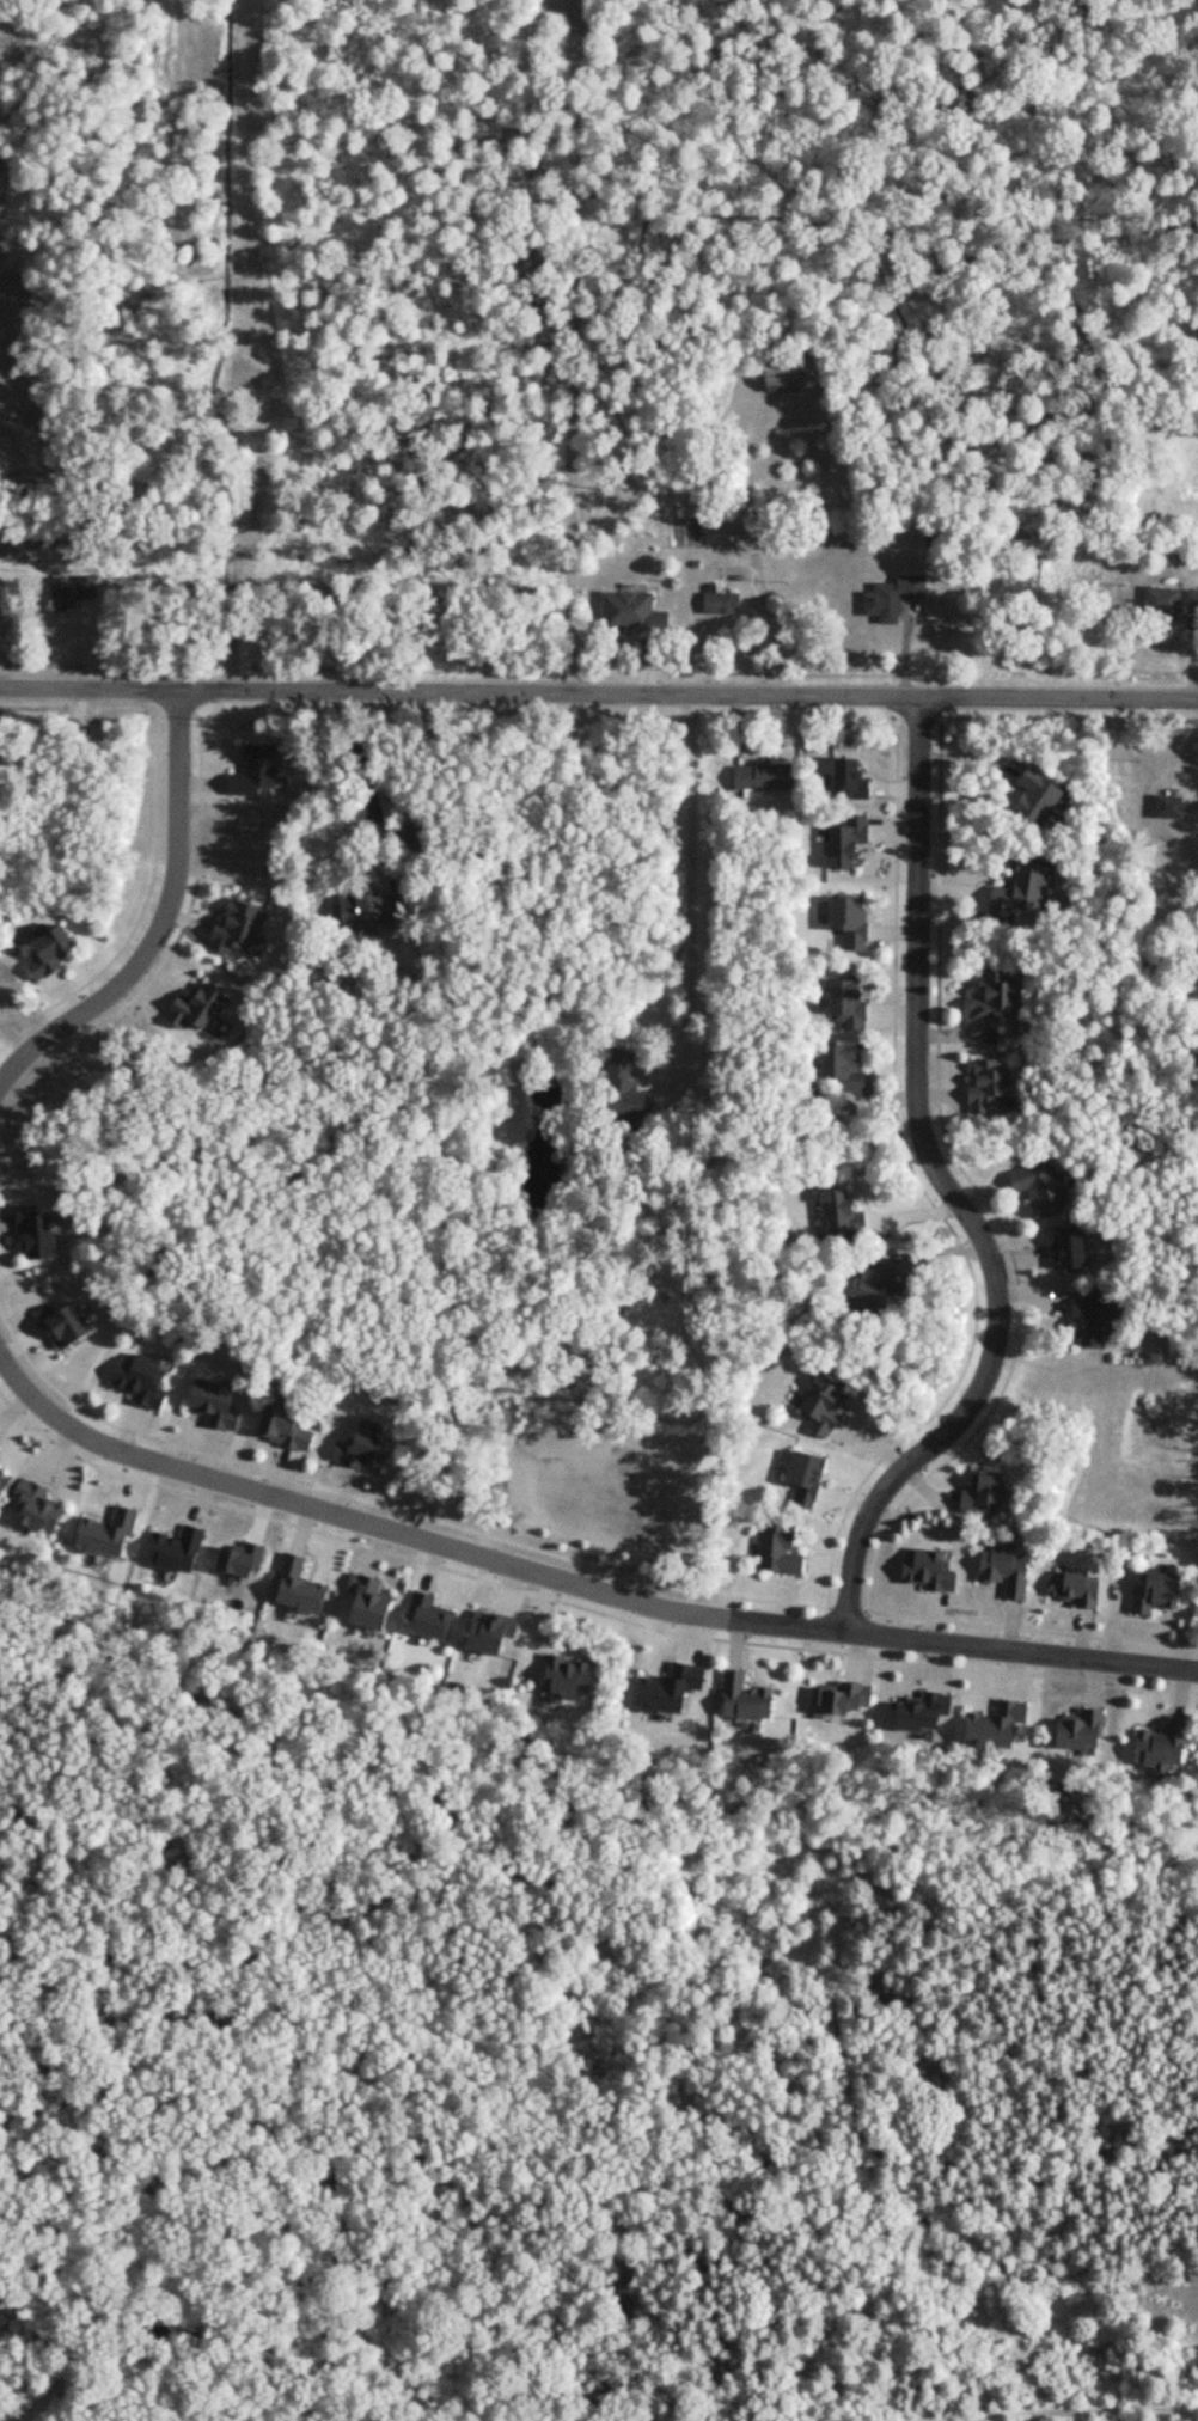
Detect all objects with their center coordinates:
road: (258, 346)
road: (574, 348)
building: (791, 379)
building: (74, 592)
building: (892, 600)
building: (1173, 601)
building: (727, 604)
building: (638, 615)
road: (598, 696)
building: (769, 777)
building: (1176, 807)
building: (852, 844)
road: (691, 879)
building: (1027, 891)
building: (378, 910)
road: (158, 921)
building: (851, 921)
building: (1003, 998)
building: (856, 1004)
building: (626, 1062)
building: (851, 1066)
building: (989, 1087)
building: (631, 1106)
road: (899, 1169)
building: (1044, 1188)
road: (949, 1190)
building: (844, 1212)
building: (886, 1285)
building: (1098, 1320)
building: (830, 1406)
building: (812, 1480)
building: (990, 1494)
building: (784, 1552)
building: (934, 1571)
building: (1011, 1572)
road: (572, 1577)
building: (1082, 1589)
building: (1168, 1594)
road: (1025, 1612)
building: (752, 1700)
building: (1089, 1731)
building: (1169, 1747)

